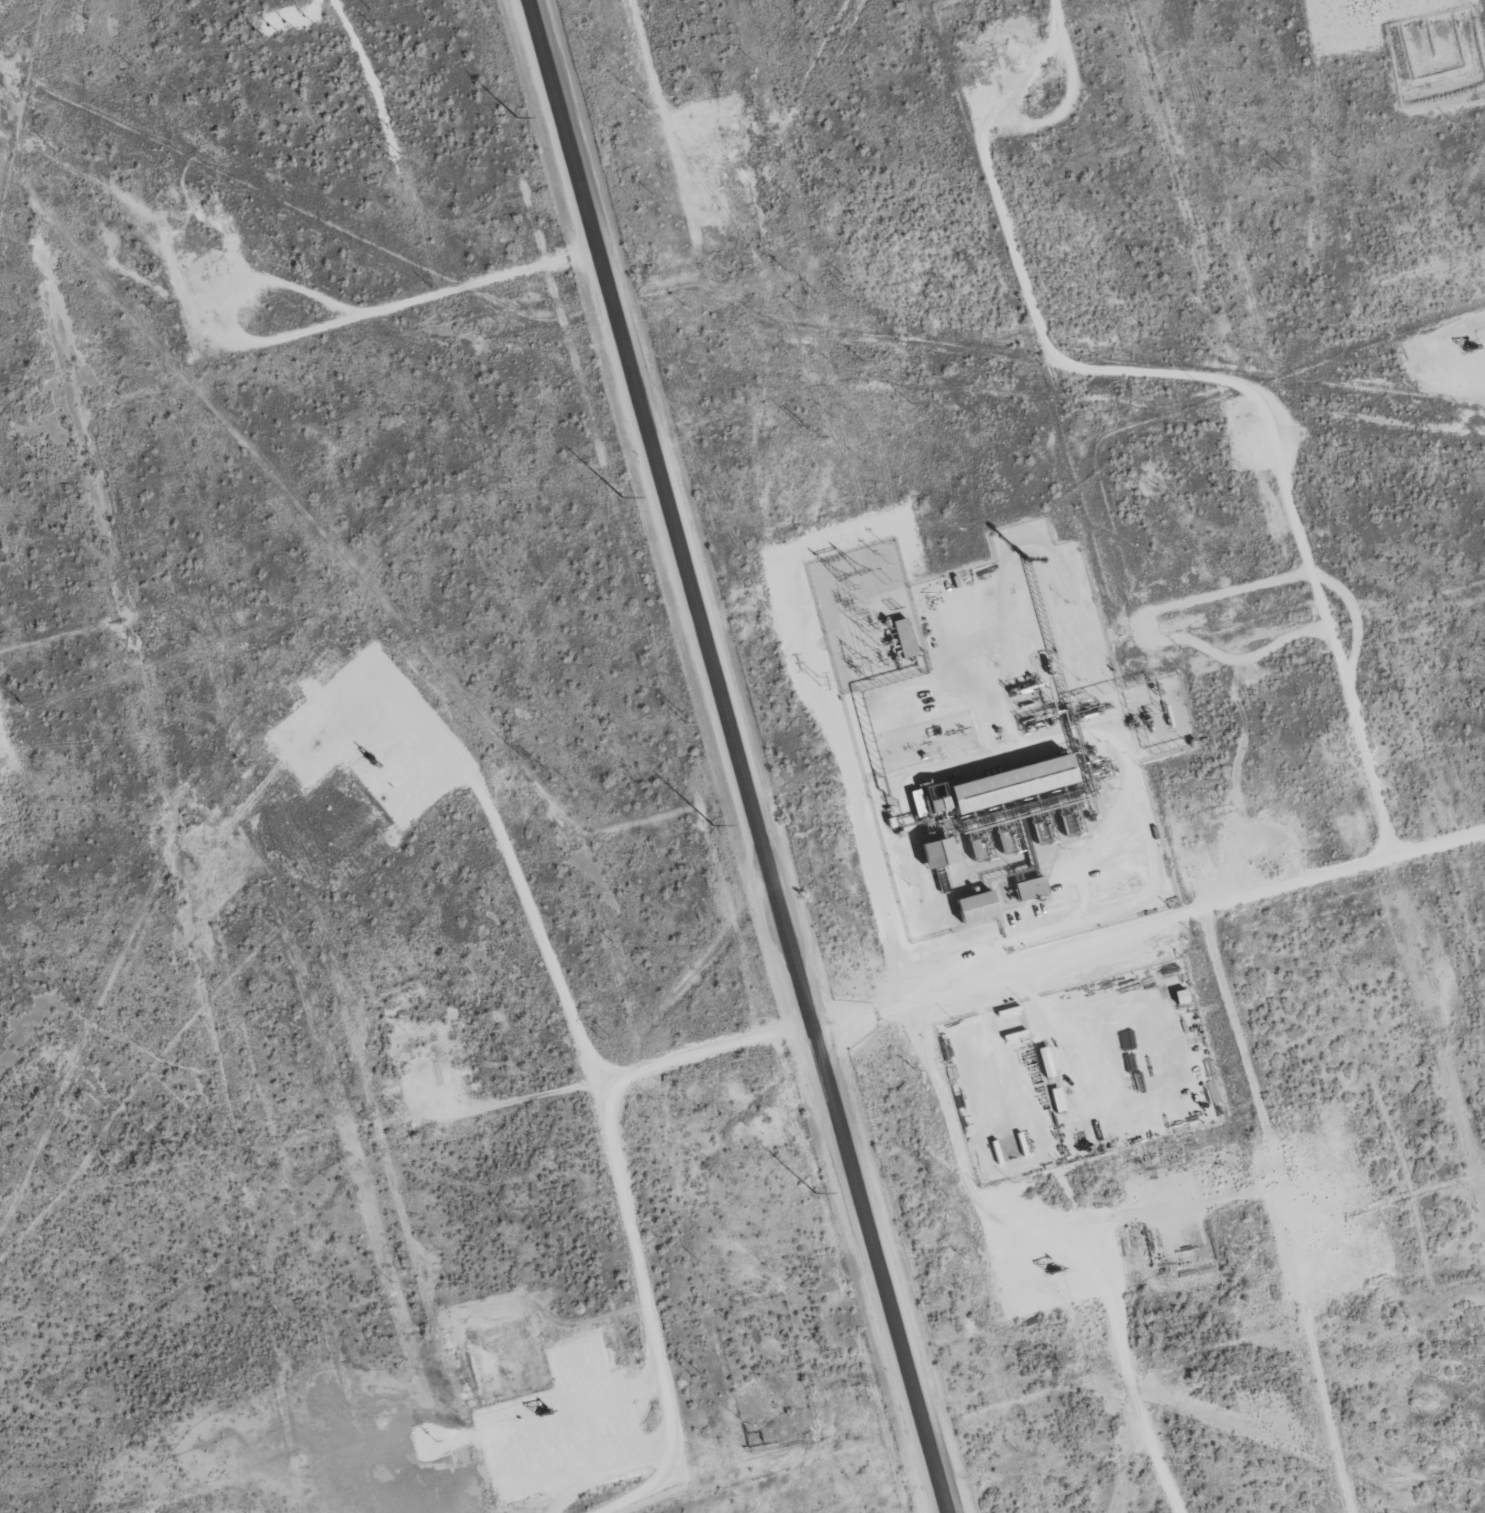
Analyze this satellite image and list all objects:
power tower: (1320, 287)
road: (405, 301)
power tower: (1151, 334)
power tower: (909, 402)
power tower: (808, 431)
power substation: (867, 616)
power tower: (694, 722)
road: (736, 755)
power tower: (531, 760)
building: (936, 853)
building: (1029, 888)
building: (975, 907)
road: (1148, 931)
power tower: (605, 1036)
road: (694, 1052)
power tower: (695, 1372)

